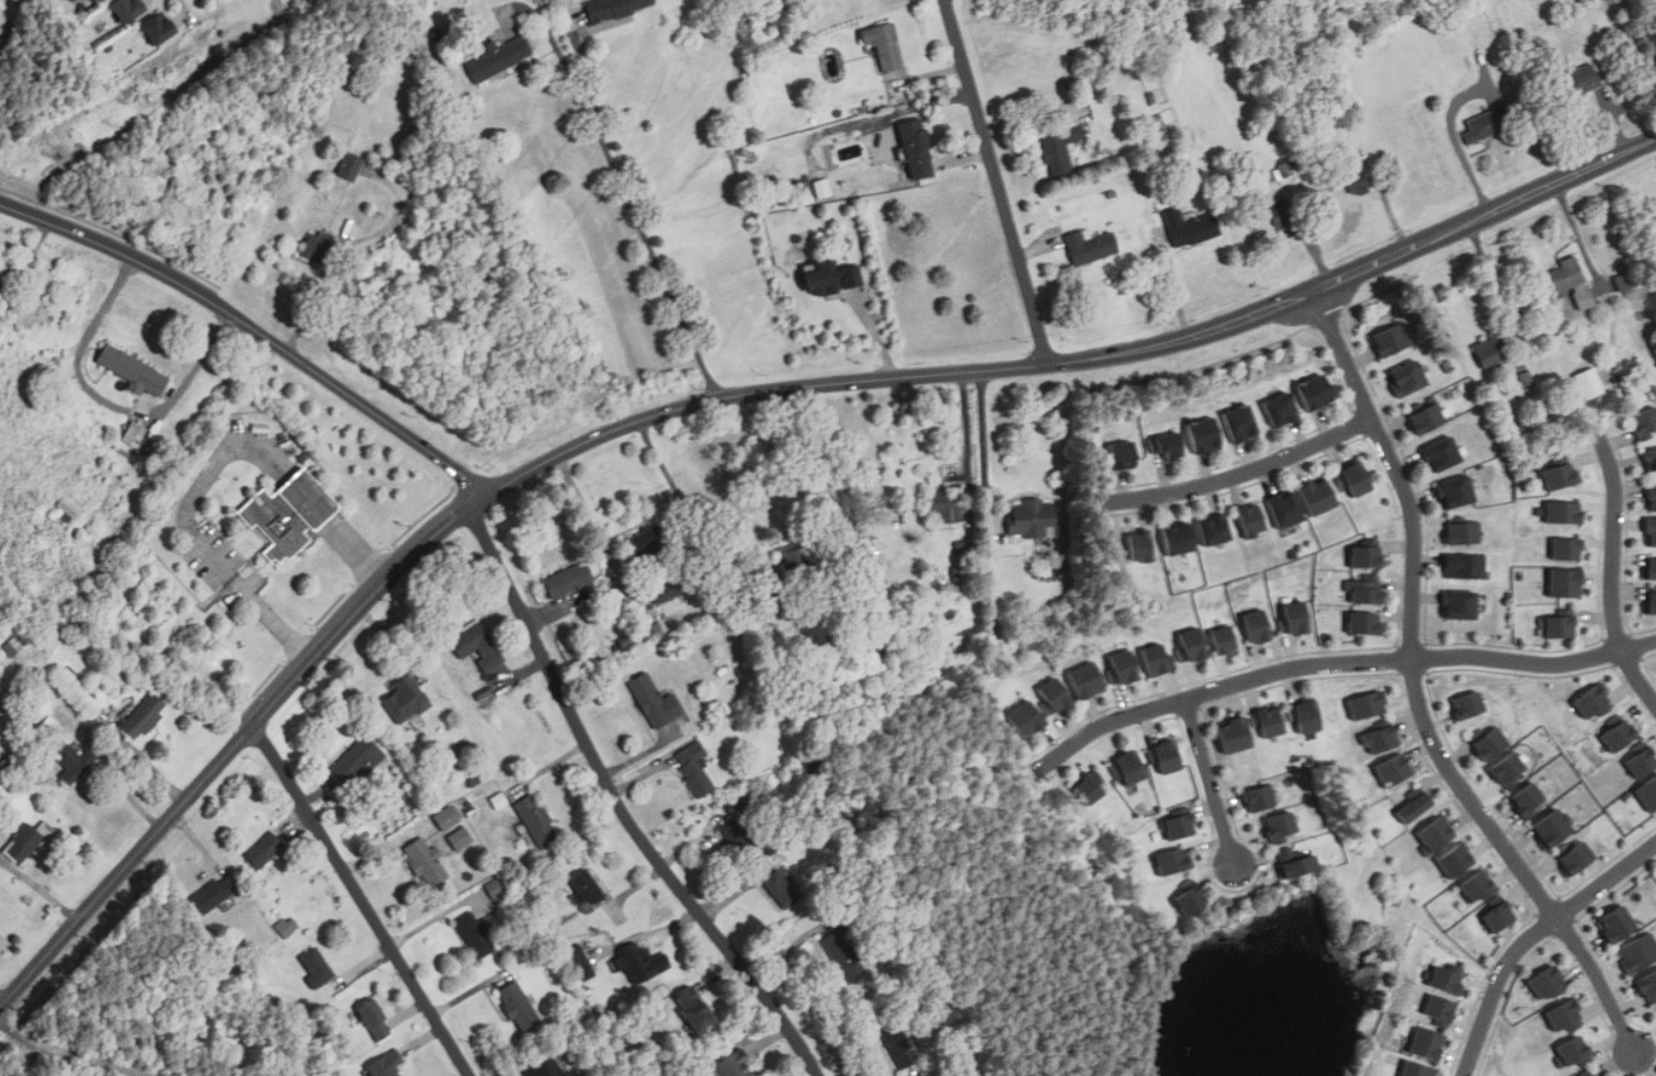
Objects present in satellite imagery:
building: (97, 1)
road: (949, 1)
building: (613, 8)
building: (129, 10)
building: (161, 31)
building: (883, 44)
road: (563, 57)
building: (499, 58)
road: (583, 59)
building: (1581, 78)
building: (1479, 127)
building: (1057, 141)
road: (1459, 146)
building: (916, 148)
building: (350, 166)
road: (998, 181)
building: (821, 188)
building: (1278, 213)
road: (395, 219)
building: (1189, 227)
road: (1579, 236)
building: (1088, 245)
building: (317, 246)
road: (29, 251)
road: (653, 253)
building: (831, 276)
building: (1570, 281)
building: (1625, 282)
road: (310, 301)
road: (254, 330)
building: (1394, 340)
building: (1493, 350)
building: (135, 371)
building: (1409, 377)
building: (1590, 383)
building: (1318, 390)
road: (729, 396)
road: (109, 401)
building: (1283, 409)
building: (1429, 416)
building: (1244, 422)
building: (1646, 422)
road: (966, 424)
building: (134, 434)
building: (1206, 434)
road: (983, 438)
building: (1169, 444)
building: (1444, 453)
building: (1125, 454)
building: (1651, 458)
road: (1244, 472)
building: (1562, 475)
building: (1358, 479)
building: (1457, 491)
building: (1320, 496)
building: (1654, 499)
building: (942, 505)
building: (65, 507)
building: (1288, 509)
building: (1566, 511)
building: (296, 513)
building: (1032, 518)
building: (1254, 520)
road: (598, 529)
building: (1215, 529)
building: (1467, 532)
building: (1652, 532)
building: (1180, 537)
building: (648, 542)
building: (1143, 545)
building: (1568, 548)
building: (1368, 556)
road: (213, 558)
building: (796, 564)
building: (1465, 565)
road: (1613, 565)
building: (1653, 568)
building: (569, 579)
building: (1567, 582)
building: (1366, 589)
building: (667, 590)
building: (773, 592)
building: (1462, 603)
building: (1652, 603)
building: (1296, 616)
building: (1365, 623)
building: (1260, 625)
building: (1561, 626)
building: (1226, 639)
building: (1192, 644)
building: (13, 645)
building: (477, 646)
building: (1157, 659)
road: (1336, 661)
building: (1123, 666)
building: (1089, 679)
road: (1420, 692)
building: (1056, 694)
building: (407, 699)
building: (655, 701)
building: (1595, 701)
building: (1369, 704)
building: (1471, 704)
building: (141, 716)
building: (1309, 716)
building: (1029, 718)
building: (1270, 721)
building: (47, 727)
building: (1235, 734)
building: (1622, 735)
building: (1386, 736)
building: (1491, 743)
building: (1167, 757)
building: (359, 760)
building: (70, 762)
building: (1644, 763)
building: (694, 768)
building: (1128, 768)
building: (1396, 769)
building: (1513, 770)
road: (1211, 784)
building: (1091, 789)
building: (1649, 793)
building: (745, 796)
building: (1262, 797)
building: (831, 798)
building: (1530, 800)
road: (623, 805)
building: (1418, 805)
building: (447, 816)
building: (537, 820)
building: (1181, 824)
building: (1283, 827)
building: (1557, 829)
building: (1437, 835)
building: (737, 836)
building: (461, 838)
building: (23, 842)
building: (265, 850)
building: (1578, 856)
building: (1456, 860)
building: (1175, 862)
building: (427, 863)
building: (1296, 864)
building: (1478, 887)
building: (586, 888)
building: (781, 888)
road: (39, 890)
building: (215, 894)
road: (363, 899)
building: (1191, 899)
building: (1501, 917)
building: (1619, 924)
building: (287, 926)
building: (475, 935)
road: (1532, 937)
building: (1638, 953)
building: (843, 955)
building: (578, 960)
building: (642, 963)
building: (317, 966)
building: (1448, 981)
building: (1549, 983)
building: (1648, 987)
road: (3, 995)
building: (519, 1007)
building: (695, 1009)
building: (1440, 1010)
building: (1567, 1017)
building: (375, 1019)
building: (1429, 1043)
building: (900, 1045)
building: (1575, 1052)
road: (58, 1053)
building: (387, 1064)
building: (735, 1066)
building: (552, 1067)
building: (1417, 1069)
building: (1587, 1073)
building: (1597, 1075)

